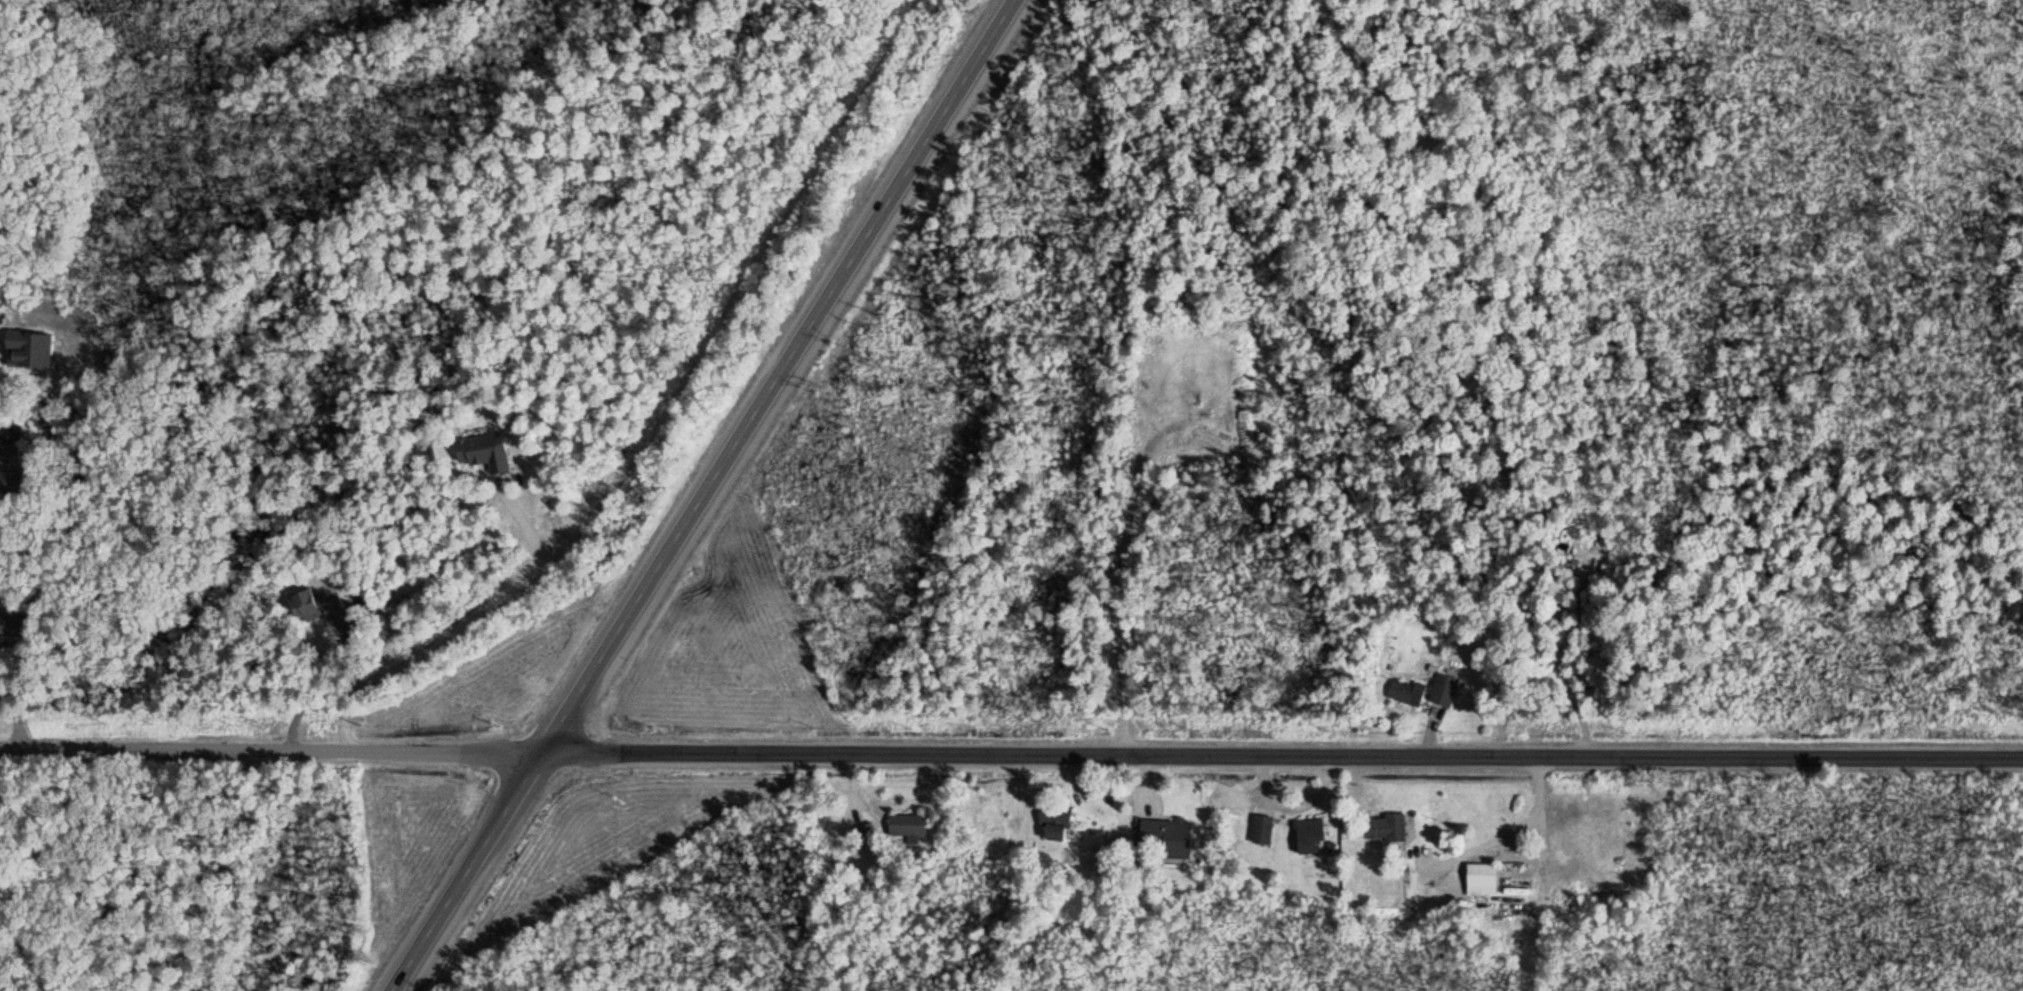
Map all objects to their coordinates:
building: (33, 350)
building: (489, 452)
building: (14, 470)
road: (703, 495)
building: (322, 607)
building: (14, 631)
road: (443, 636)
building: (1447, 689)
building: (1409, 692)
road: (1011, 758)
building: (1057, 821)
building: (910, 823)
building: (1387, 827)
building: (1266, 828)
building: (869, 833)
road: (108, 834)
building: (1170, 835)
building: (1314, 835)
road: (1544, 875)
building: (1485, 878)

